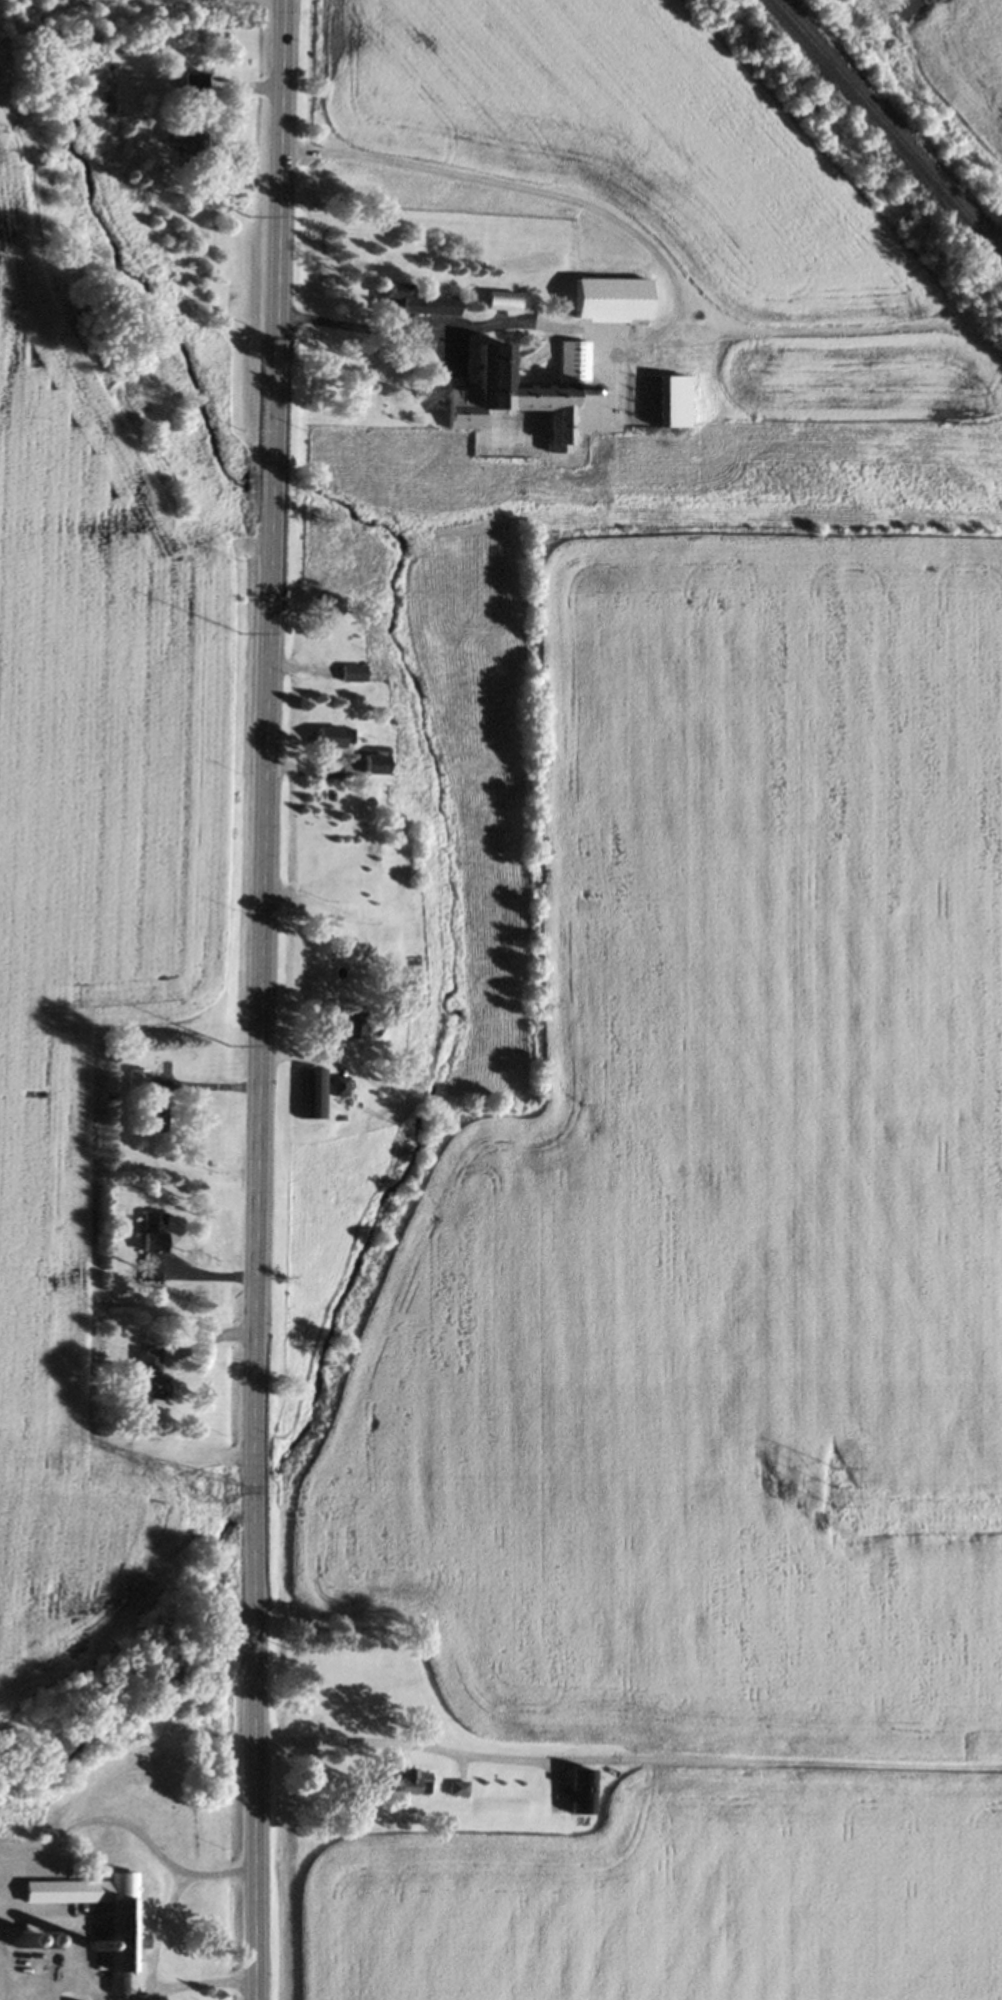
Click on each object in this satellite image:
road: (142, 5)
building: (194, 89)
railway: (885, 131)
building: (610, 298)
building: (503, 300)
building: (417, 301)
road: (540, 324)
building: (519, 389)
building: (671, 400)
road: (262, 999)
building: (349, 1027)
building: (136, 1080)
road: (207, 1083)
building: (339, 1087)
building: (312, 1095)
building: (155, 1117)
building: (150, 1248)
building: (148, 1377)
power tower: (836, 1486)
power tower: (215, 1492)
road: (408, 1742)
building: (411, 1784)
building: (458, 1791)
building: (582, 1793)
road: (40, 1848)
building: (120, 1921)
road: (161, 1925)
road: (197, 1982)

